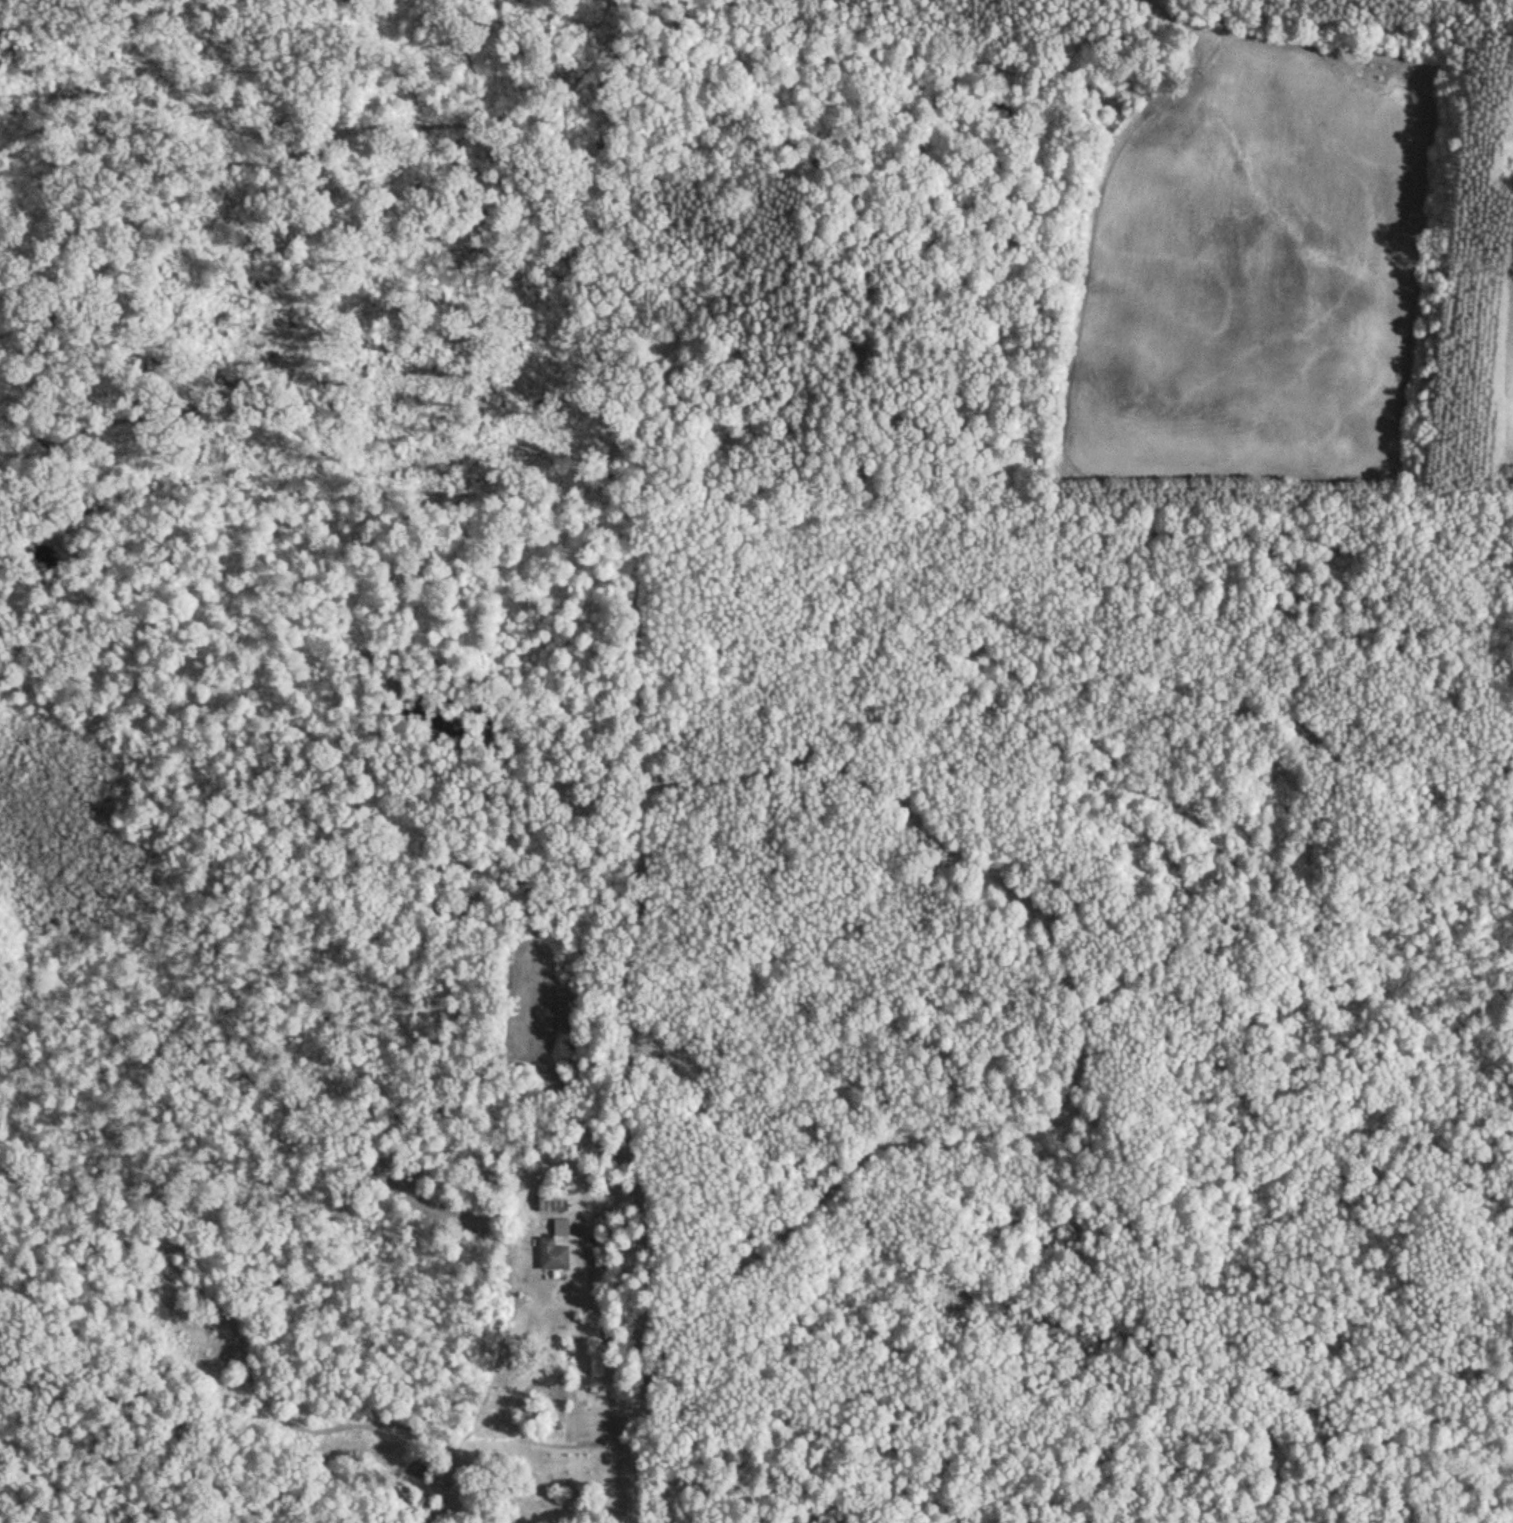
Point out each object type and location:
building: (547, 1203)
building: (549, 1256)
road: (619, 1445)
road: (561, 1506)

